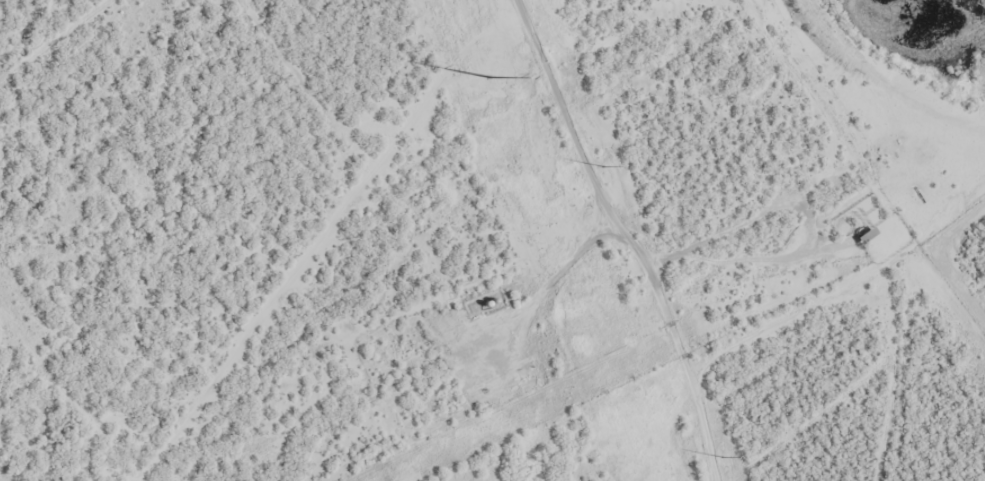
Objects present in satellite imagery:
power tower: (489, 74)
power tower: (600, 167)
road: (708, 305)
power tower: (717, 457)

